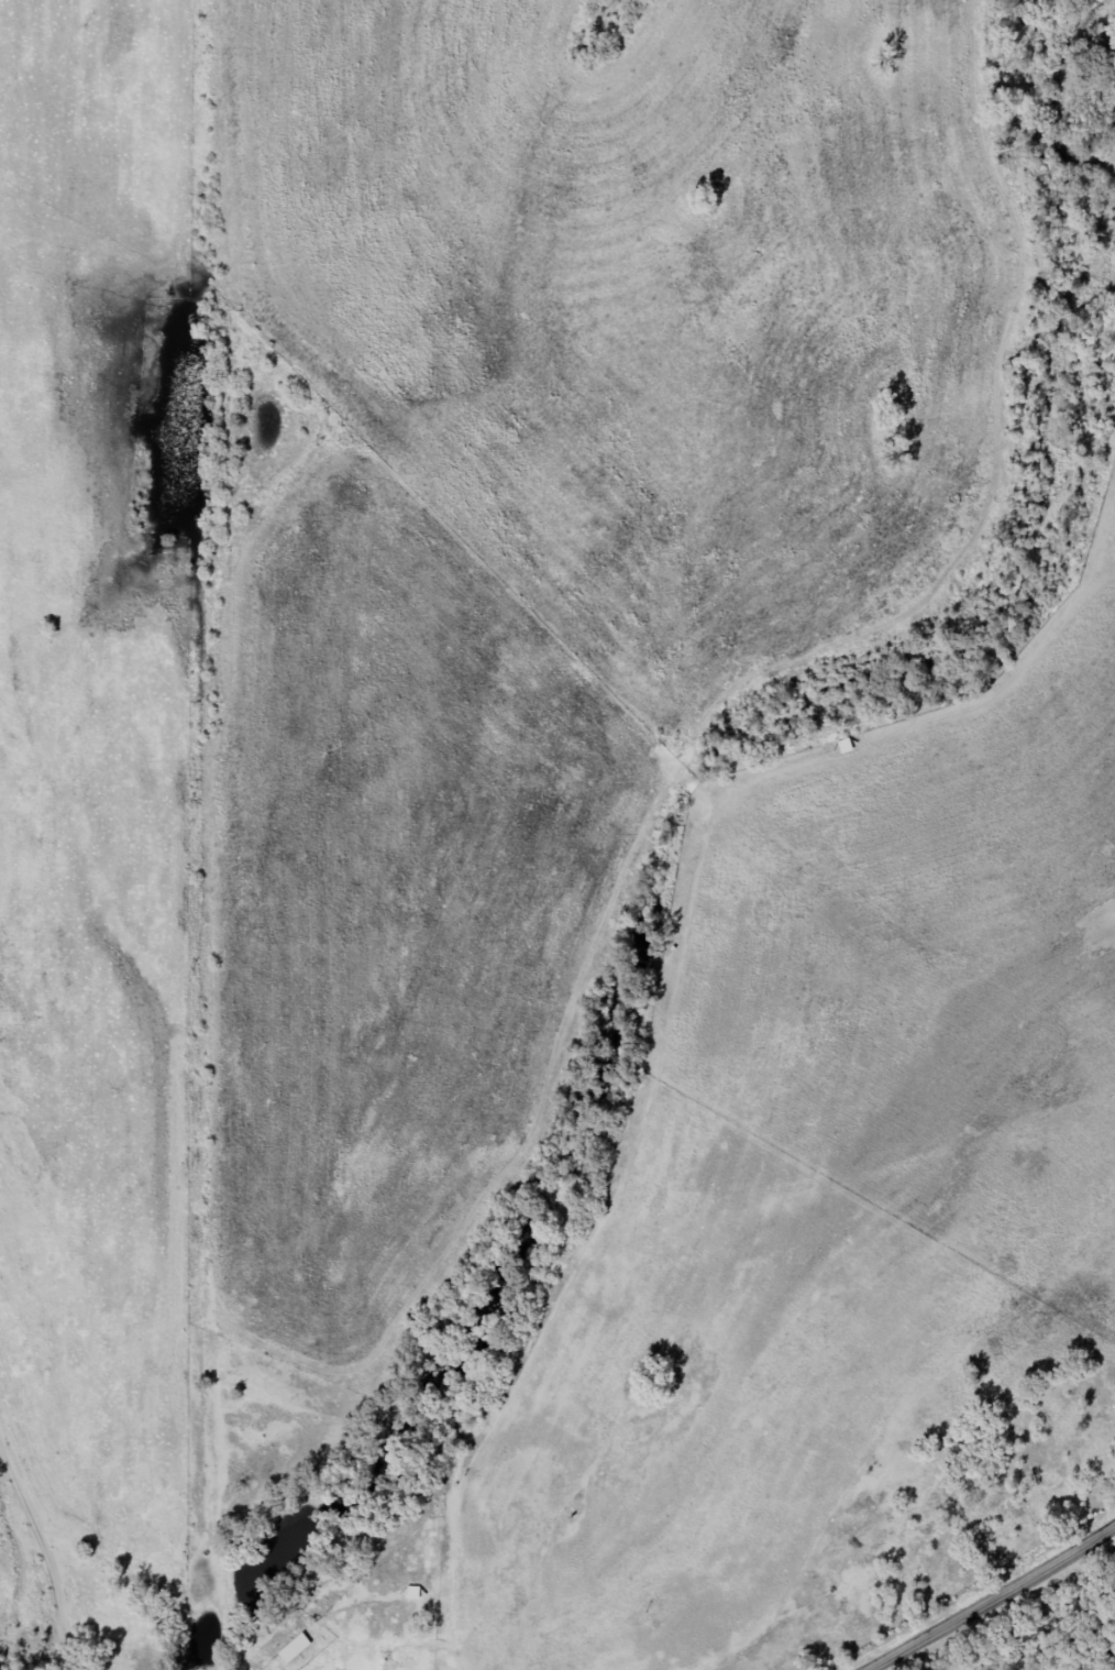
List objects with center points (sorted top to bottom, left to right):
road: (998, 1602)

